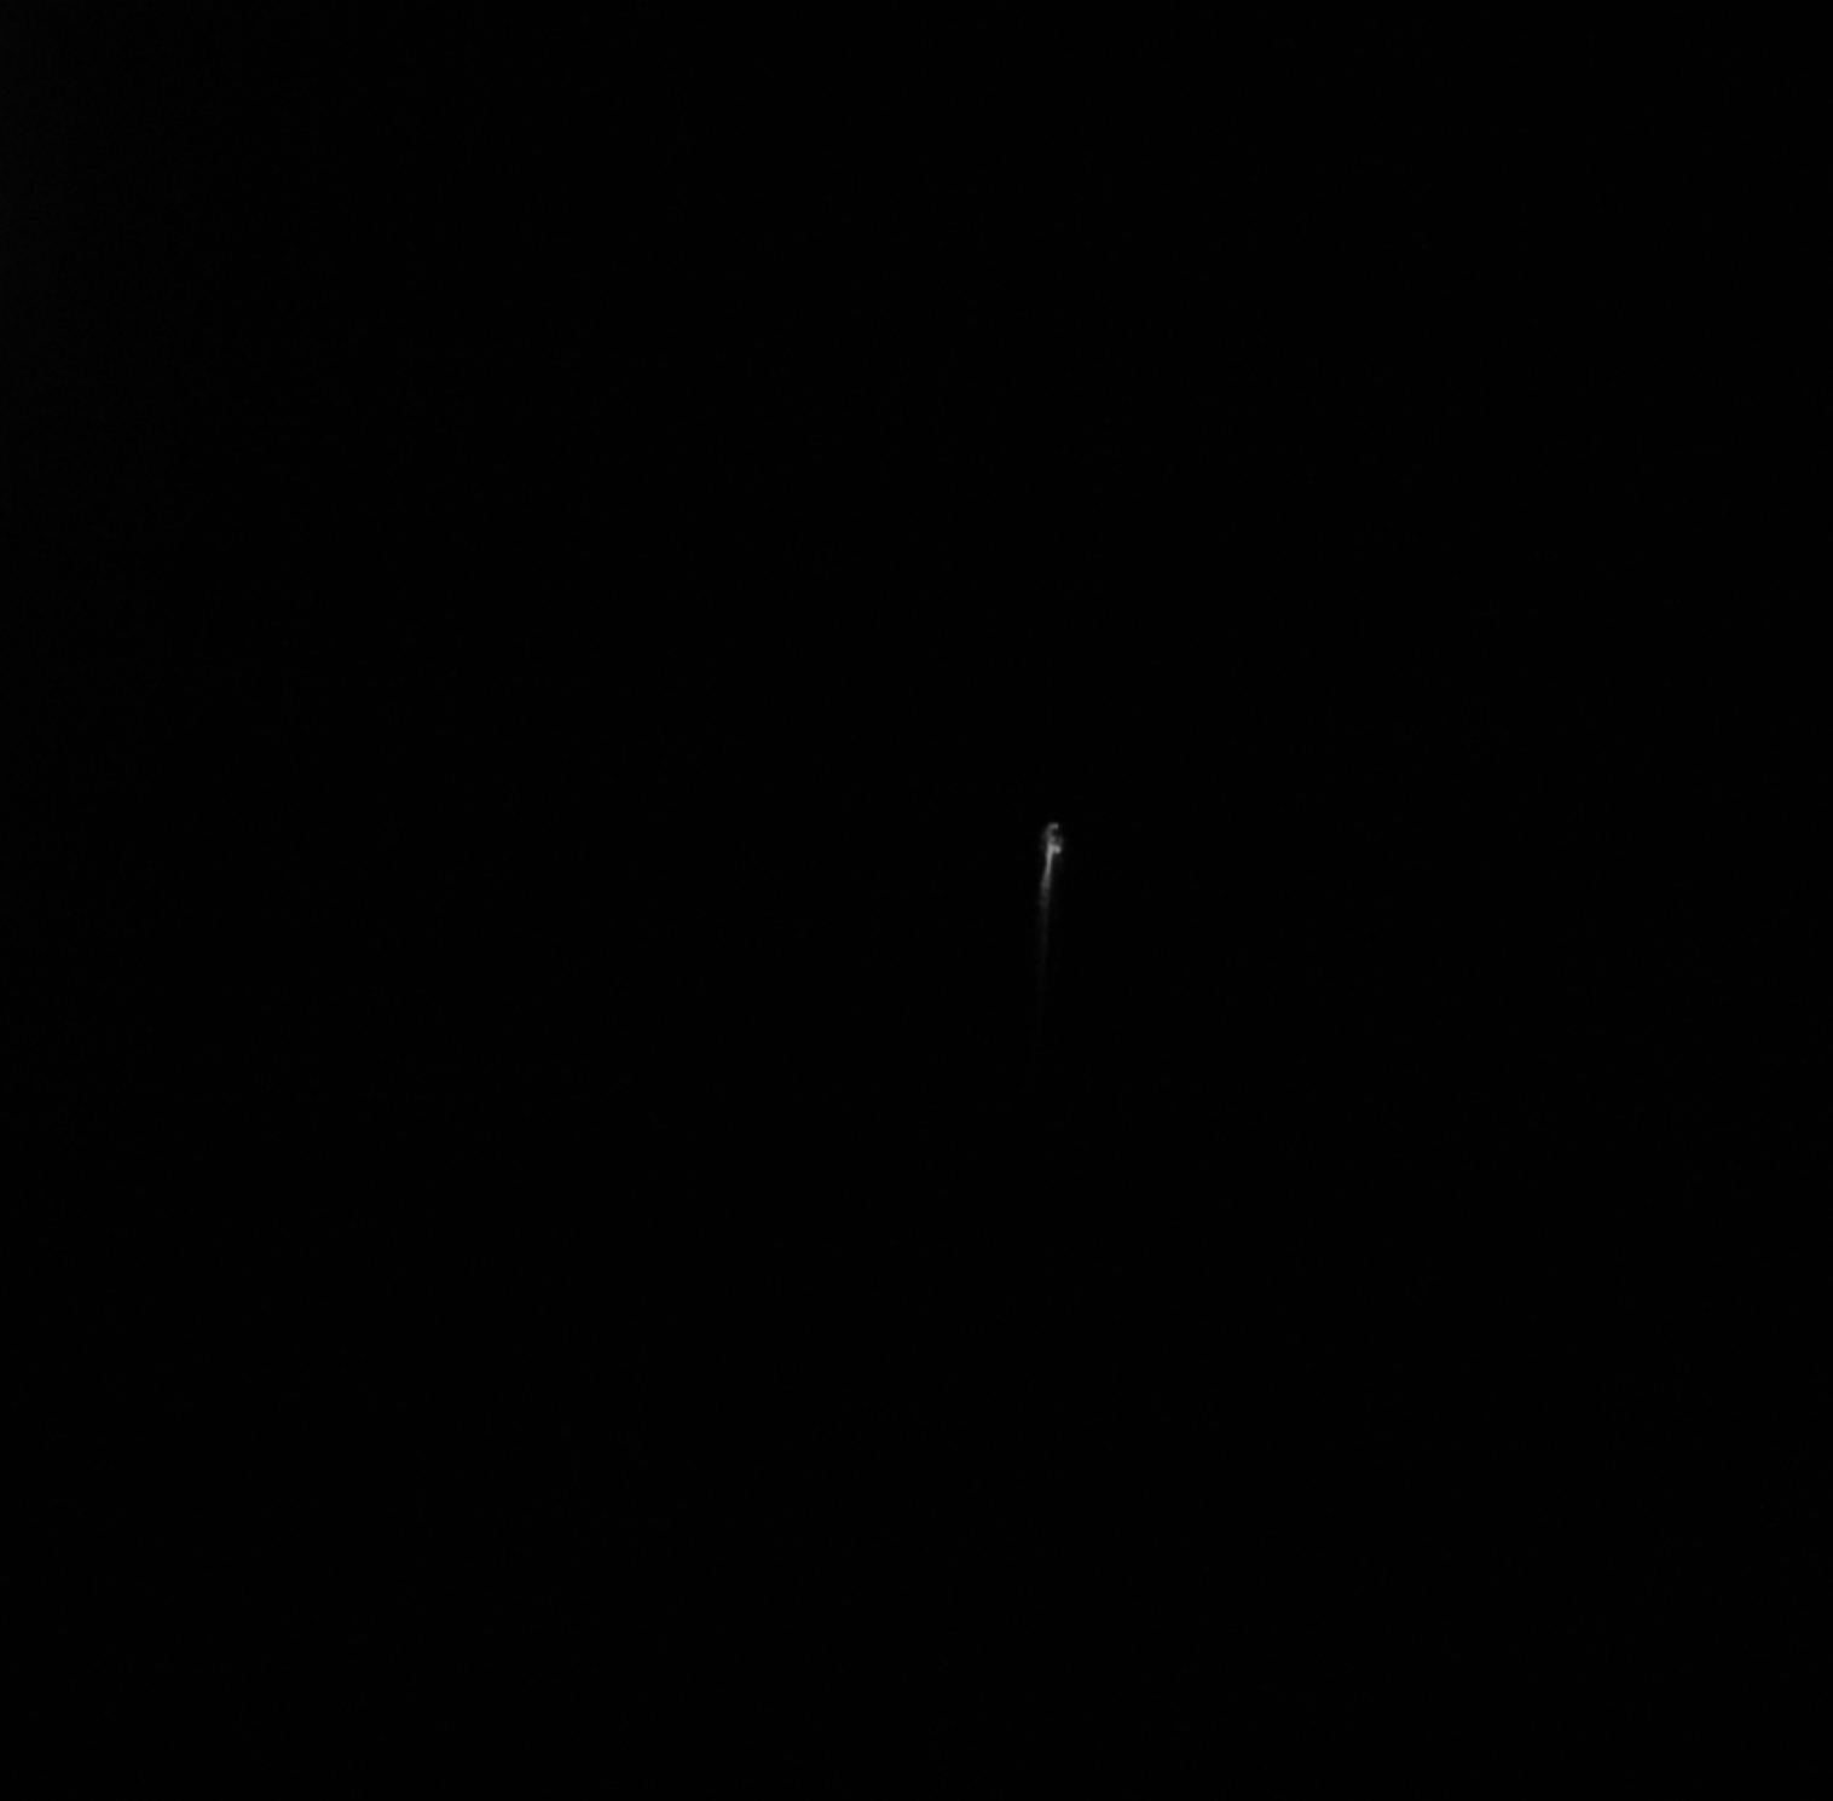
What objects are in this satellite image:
river: (1797, 1437)

